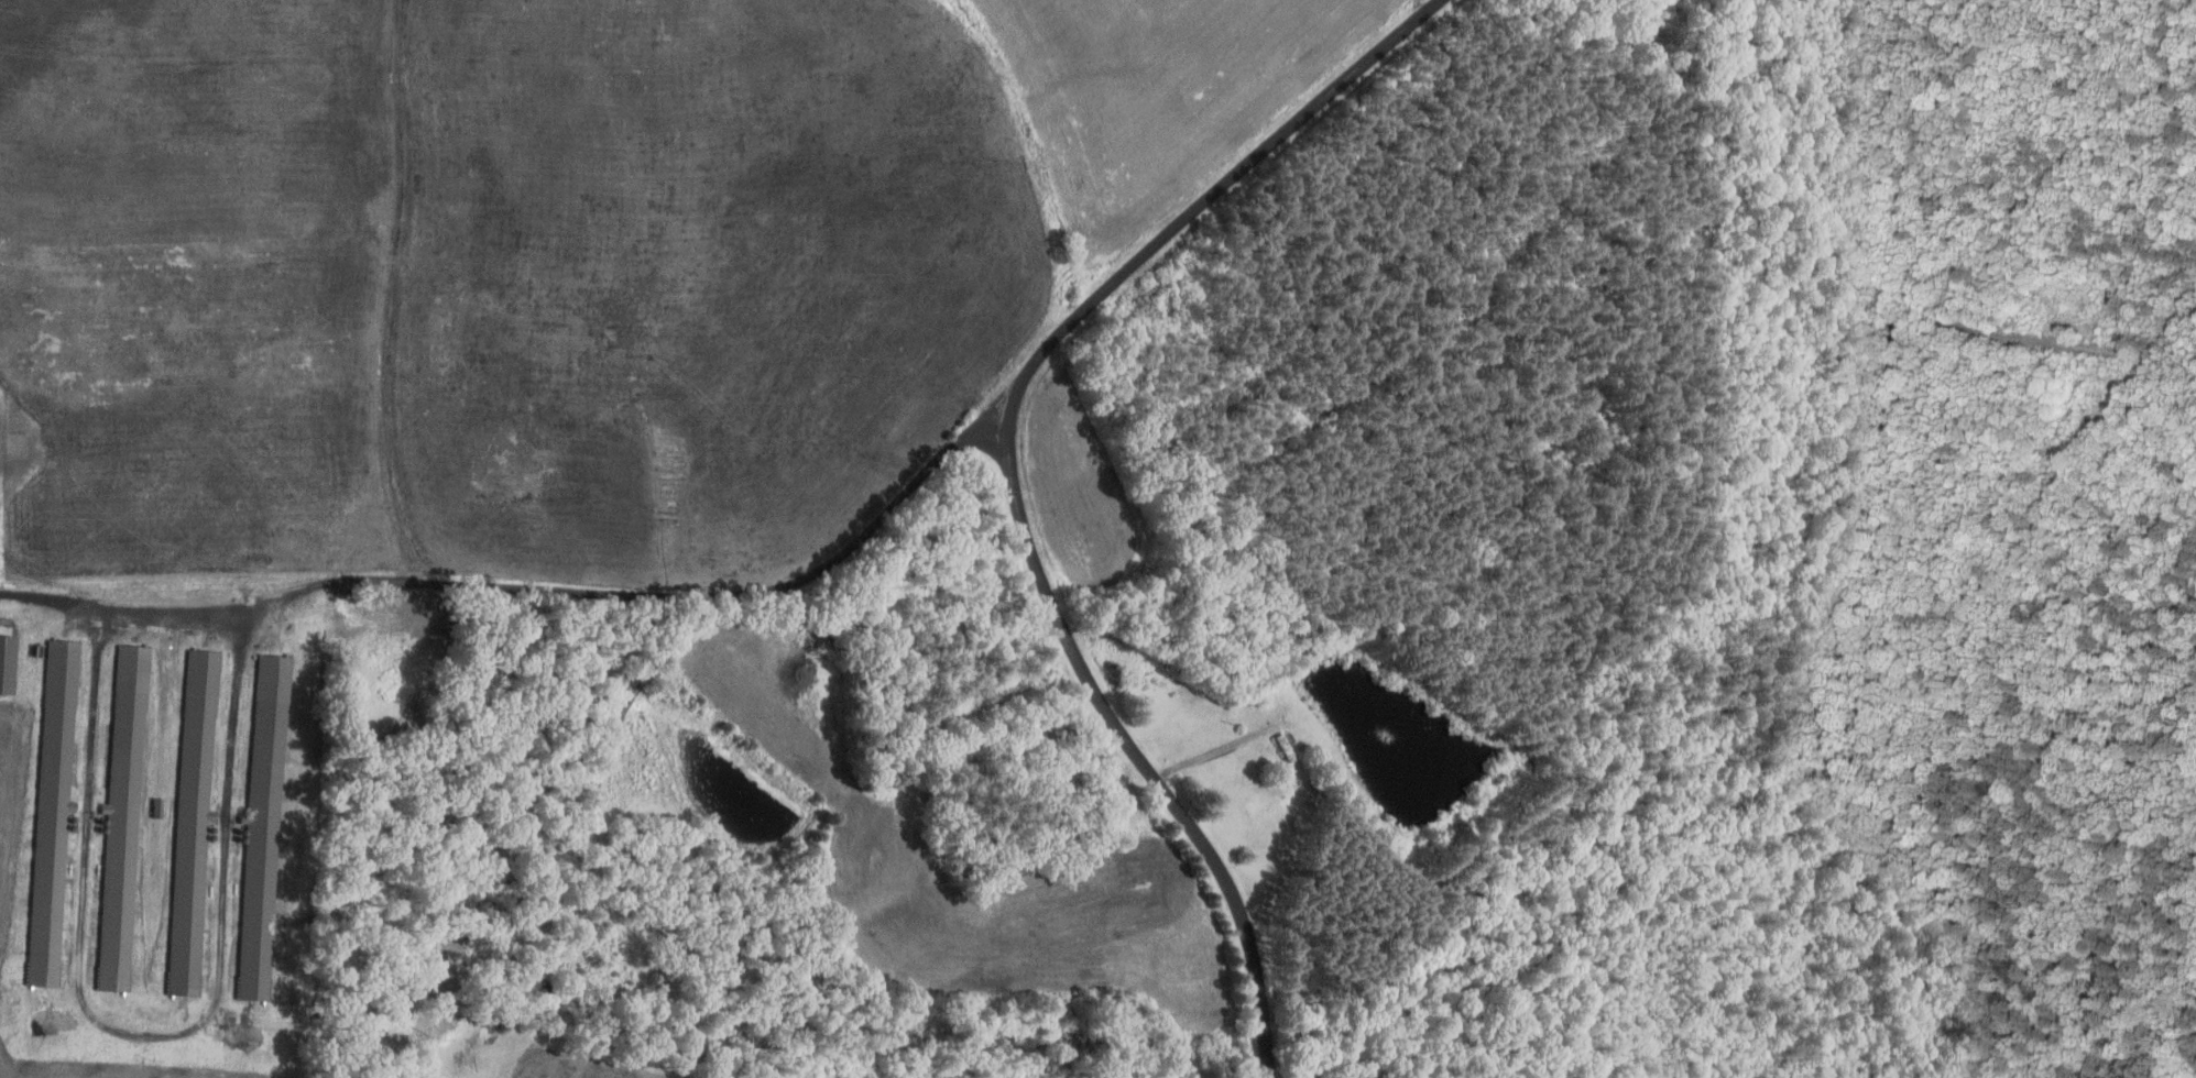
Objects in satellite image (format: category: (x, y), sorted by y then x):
road: (1145, 269)
road: (534, 586)
building: (8, 662)
building: (53, 807)
building: (194, 817)
building: (123, 821)
building: (263, 828)
road: (1210, 832)

